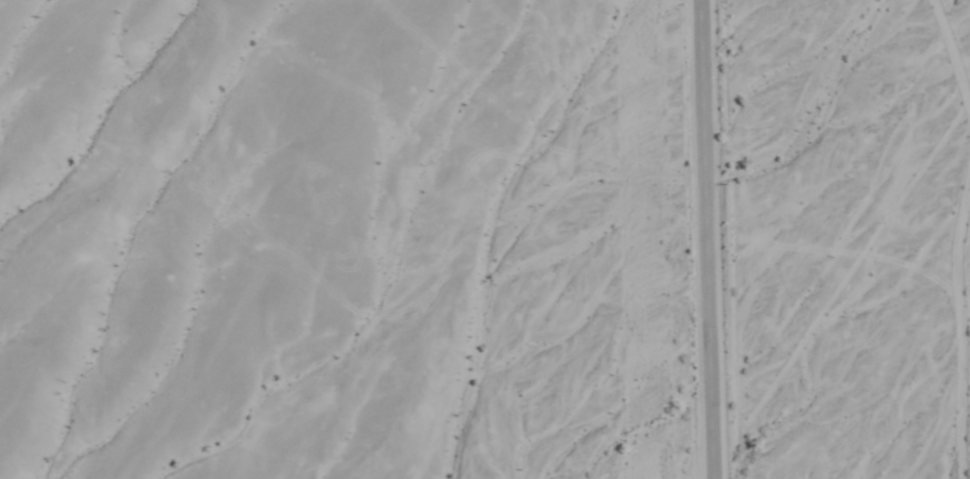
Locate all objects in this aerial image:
road: (952, 51)
road: (707, 239)
road: (962, 330)

